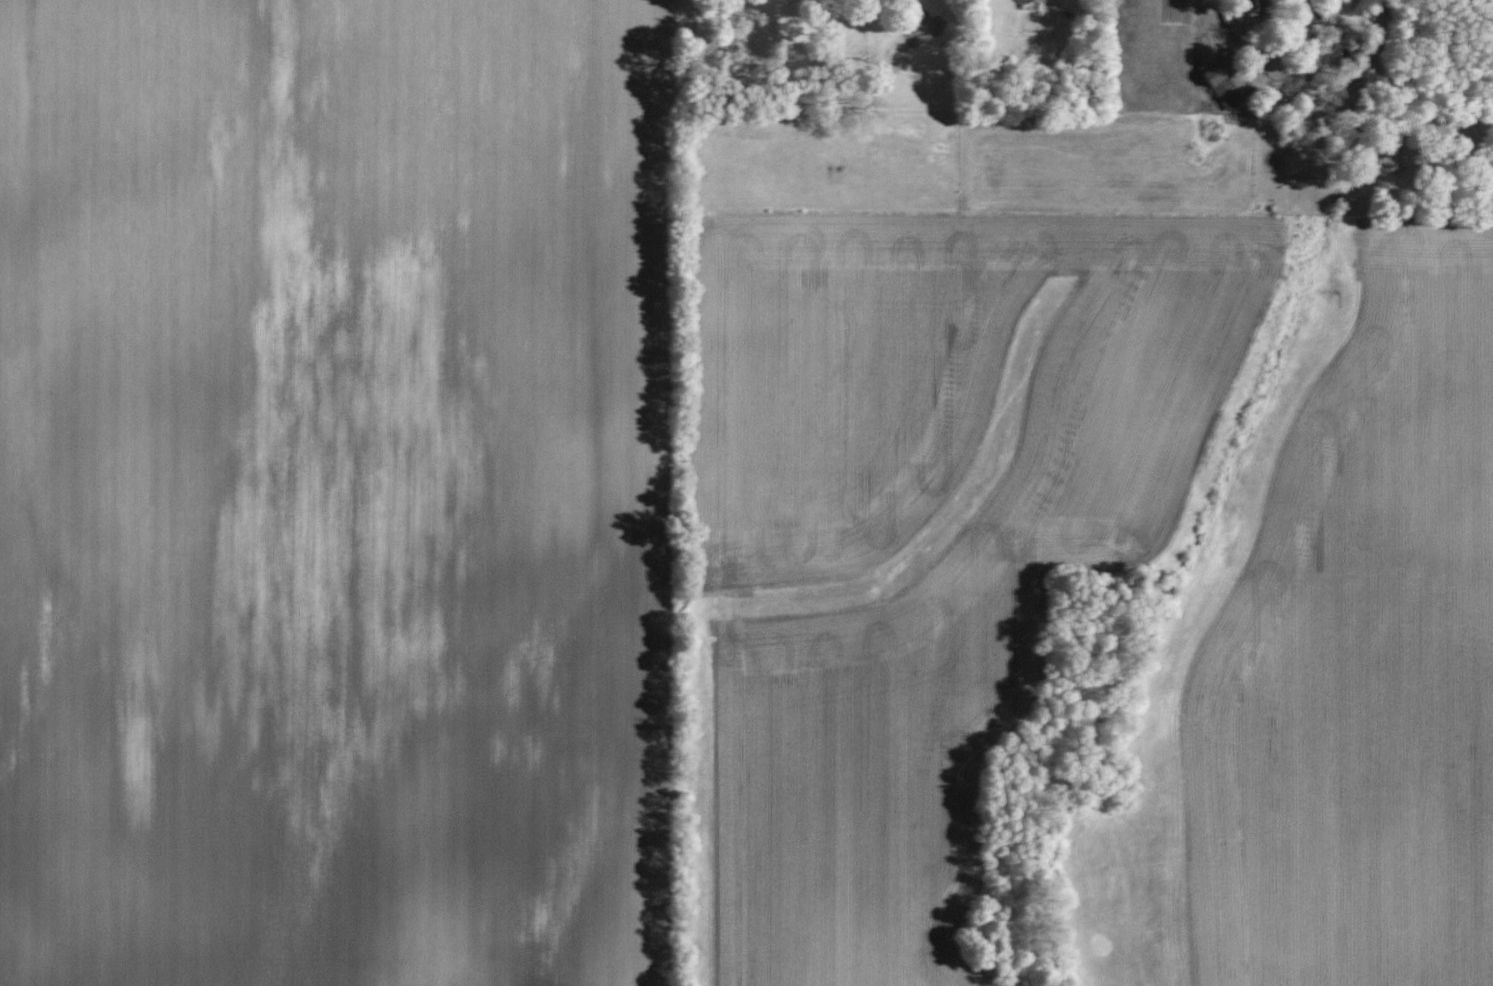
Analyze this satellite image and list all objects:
road: (1299, 15)
building: (1228, 79)
road: (1272, 83)

